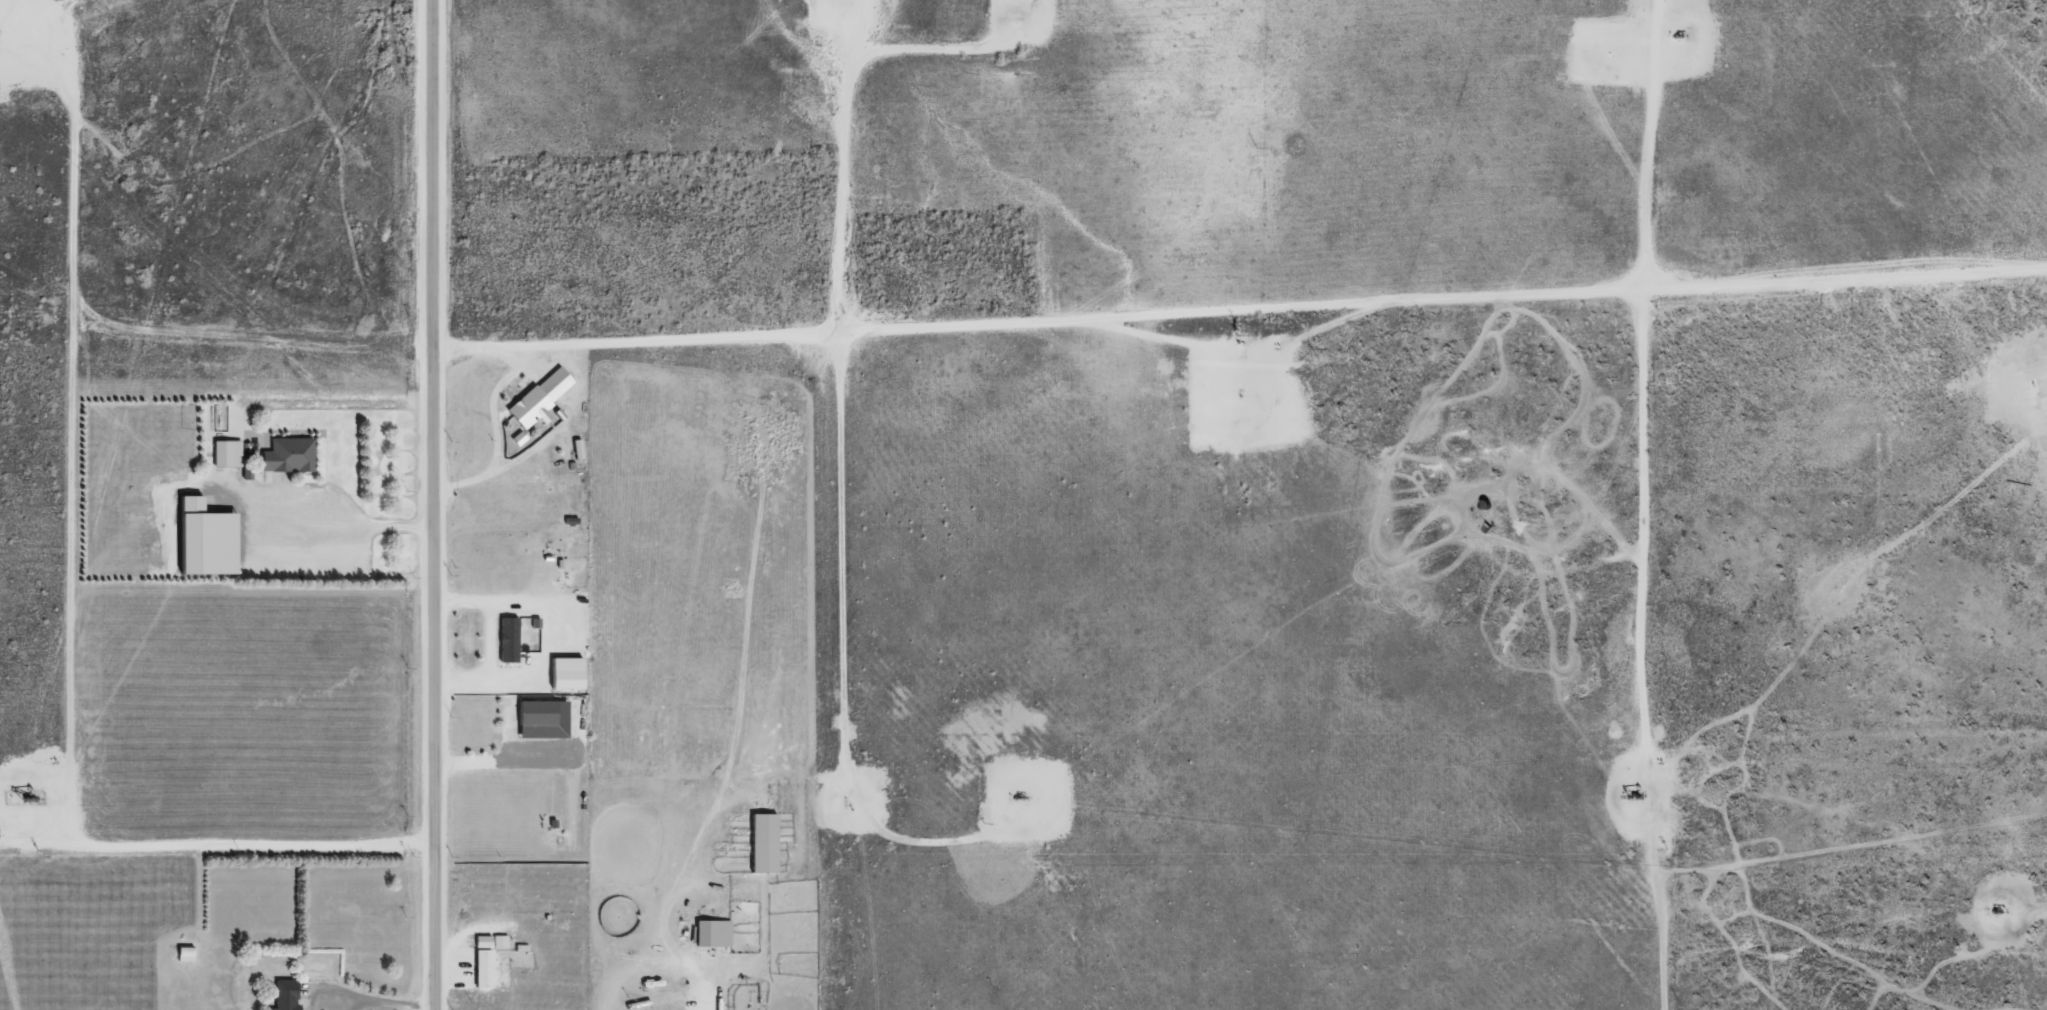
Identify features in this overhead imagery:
road: (36, 44)
road: (1853, 260)
road: (1046, 319)
road: (213, 327)
road: (1658, 344)
building: (539, 397)
road: (66, 433)
building: (226, 452)
building: (287, 454)
road: (431, 505)
building: (203, 538)
road: (852, 630)
building: (507, 639)
building: (564, 672)
building: (541, 718)
road: (57, 791)
road: (48, 793)
road: (216, 836)
building: (762, 842)
building: (711, 932)
building: (481, 940)
building: (499, 940)
building: (482, 967)
building: (284, 994)
road: (708, 996)
road: (381, 1008)

